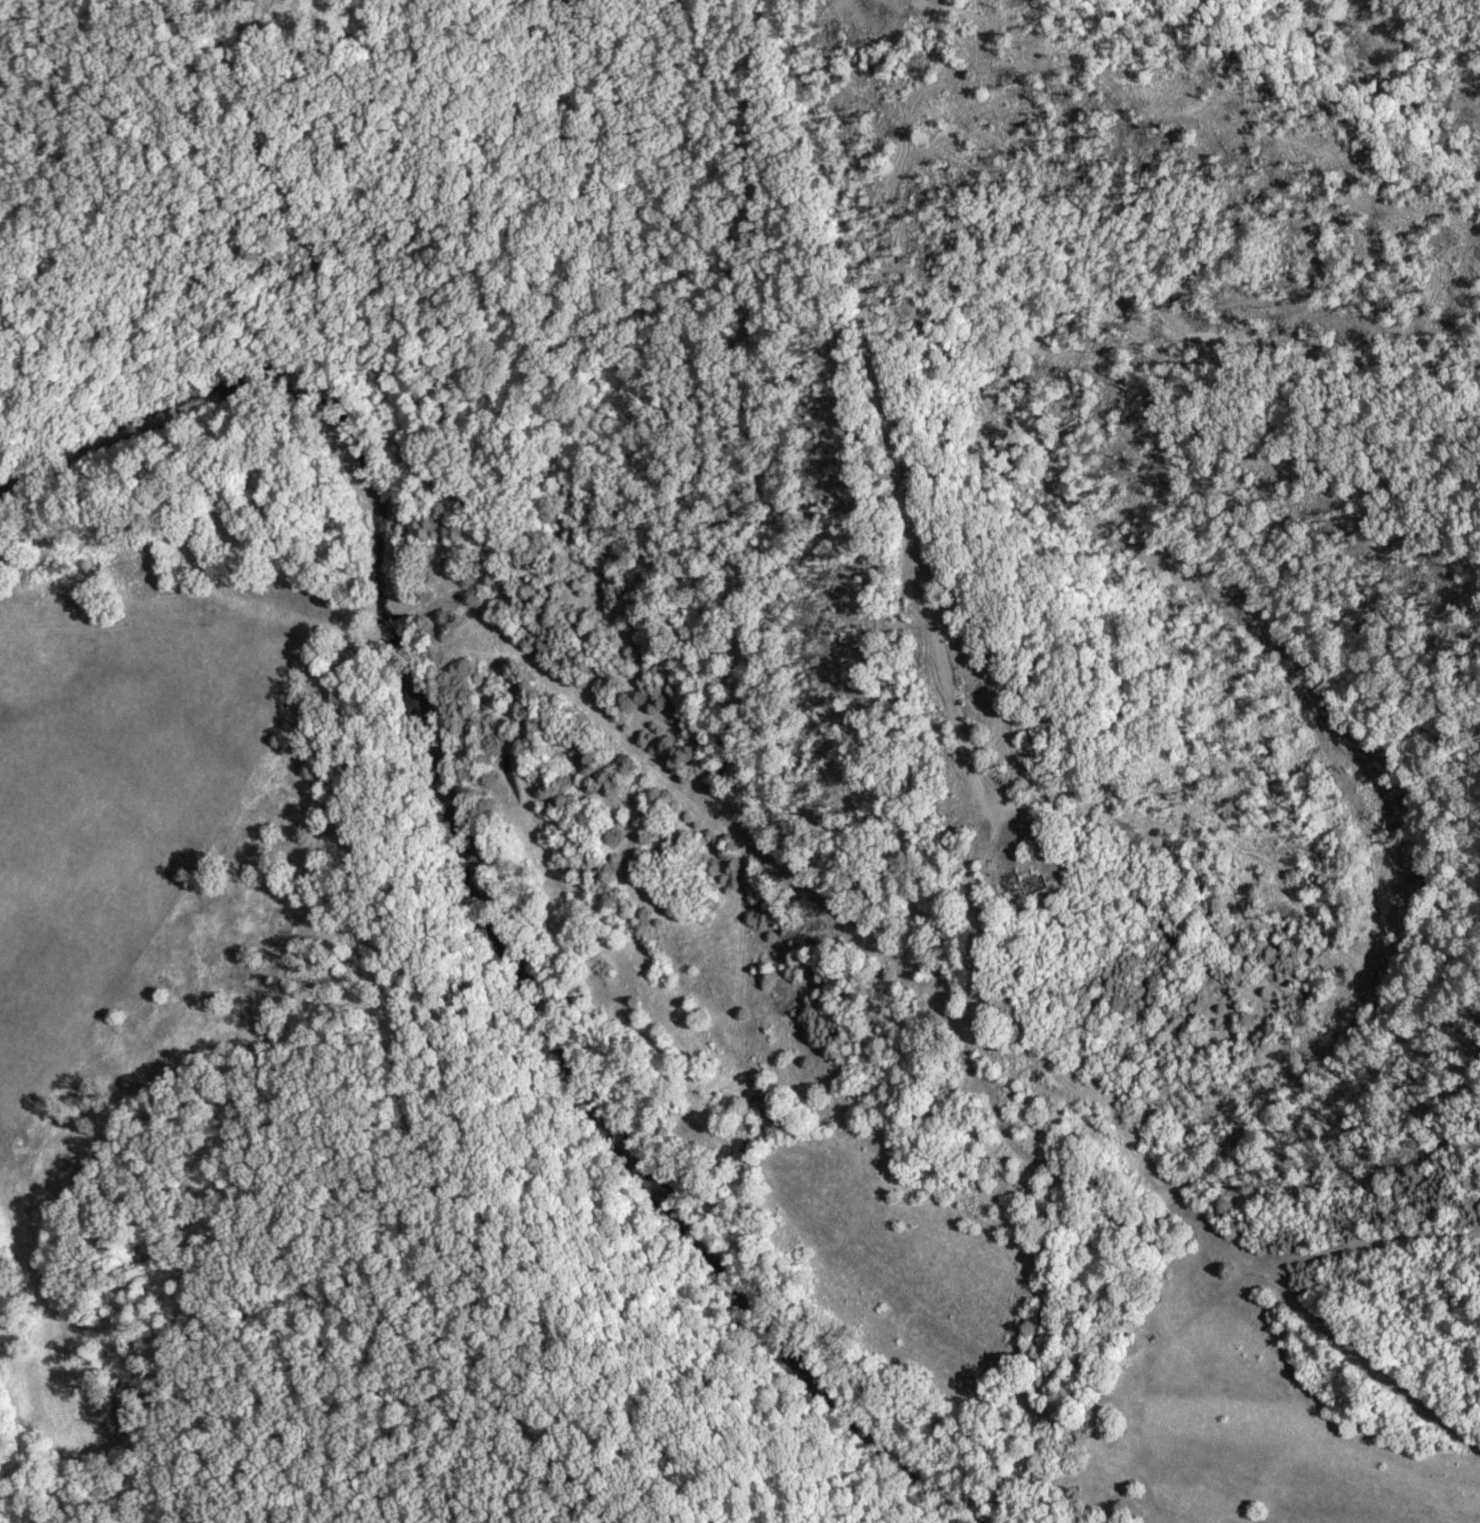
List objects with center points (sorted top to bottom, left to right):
road: (862, 807)

